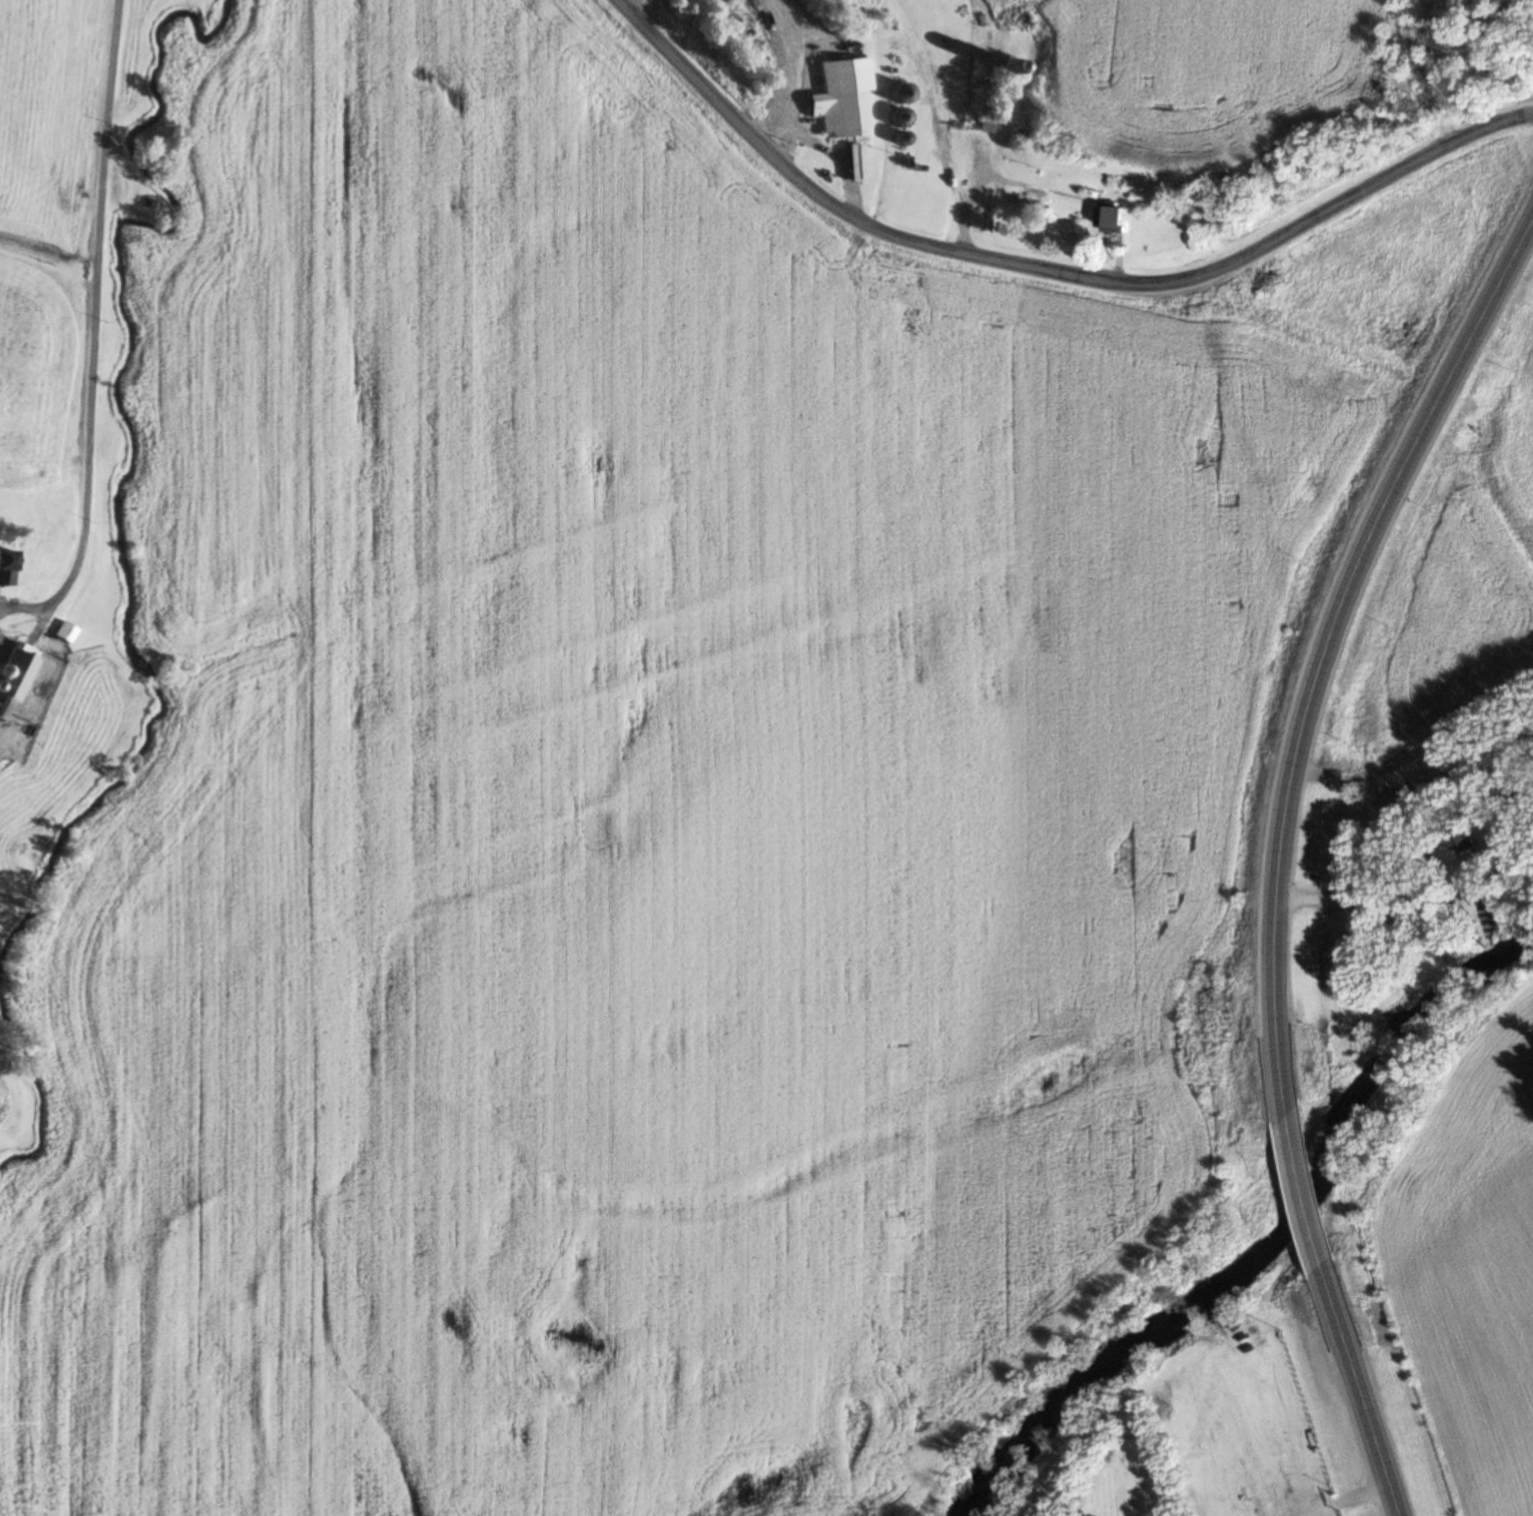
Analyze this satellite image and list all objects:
road: (637, 3)
road: (795, 72)
building: (842, 99)
road: (837, 153)
building: (1108, 219)
road: (1052, 267)
road: (92, 311)
building: (4, 567)
building: (61, 632)
road: (1326, 651)
building: (11, 673)
building: (1462, 840)
road: (1305, 1192)
river: (1275, 1248)
road: (1360, 1390)

